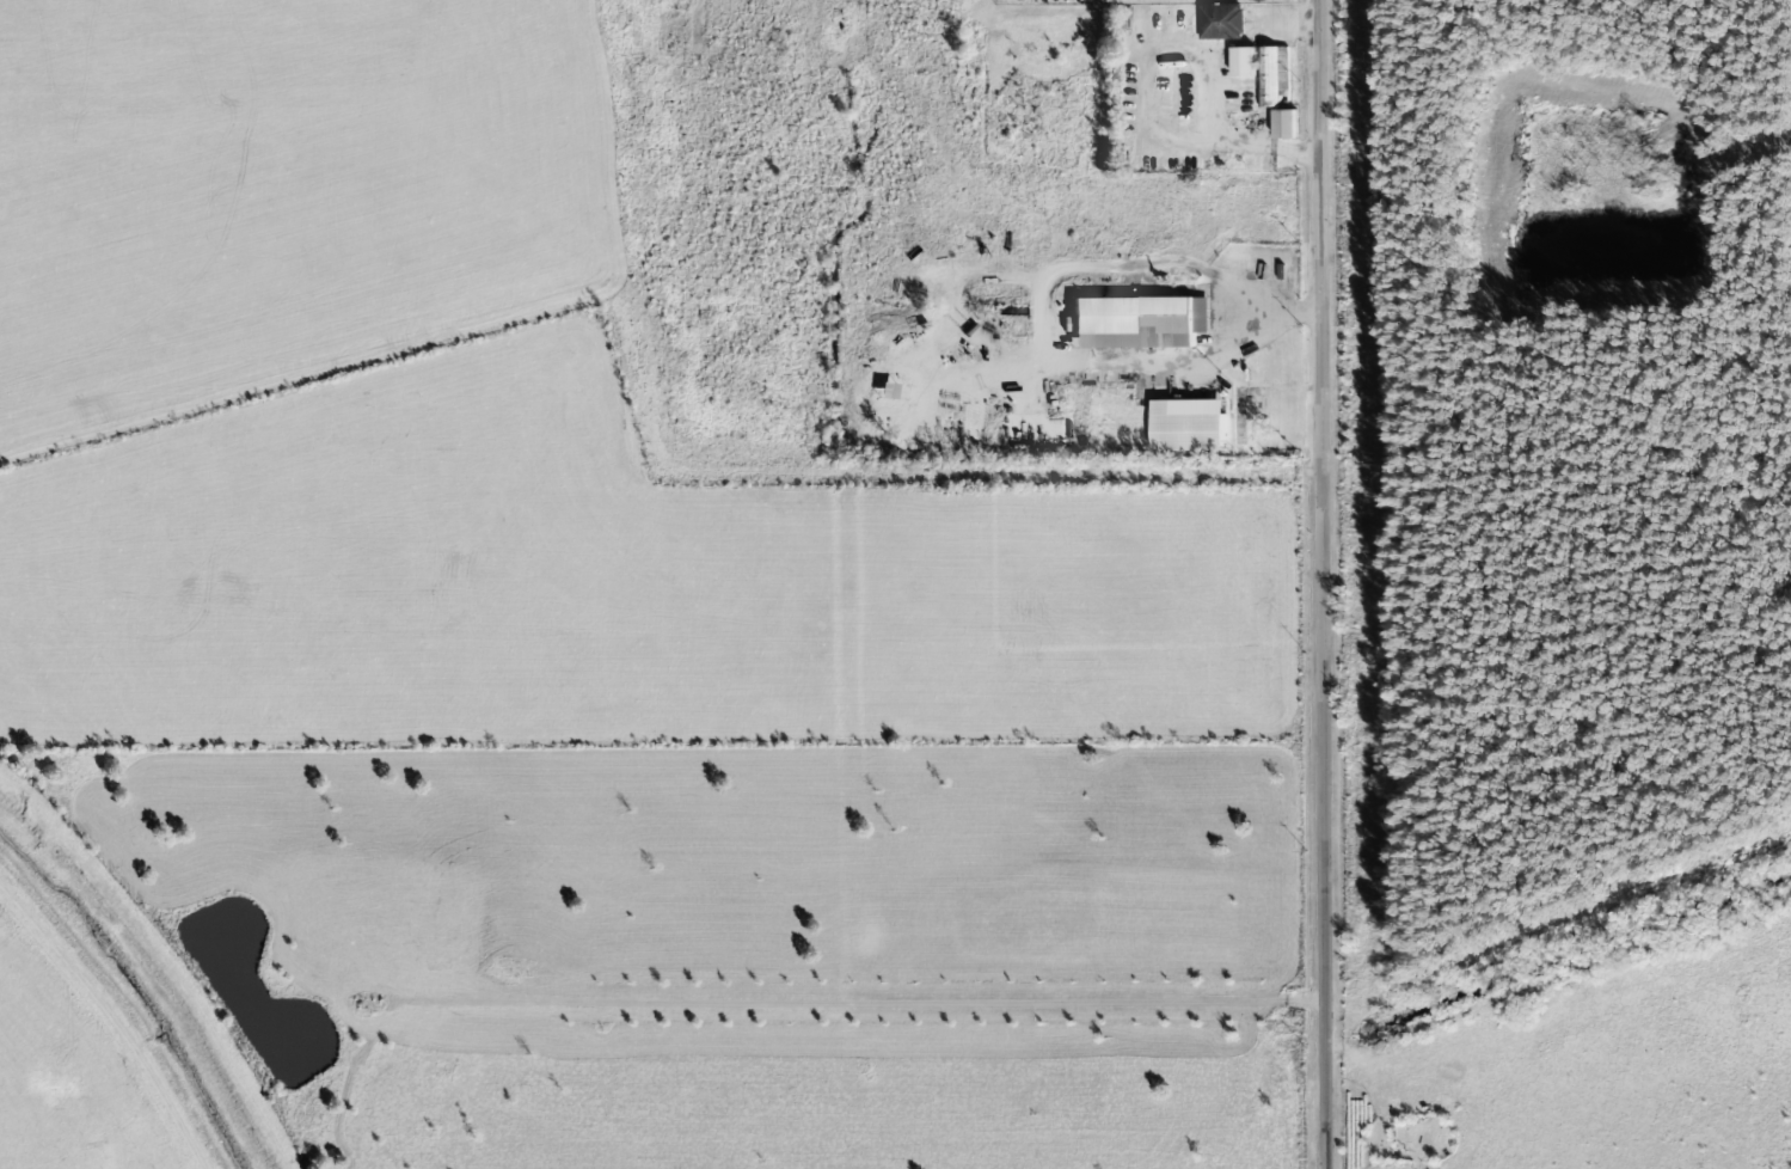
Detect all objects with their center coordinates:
building: (1221, 23)
building: (1264, 73)
building: (1284, 124)
building: (1137, 323)
building: (1188, 426)
road: (1323, 584)

